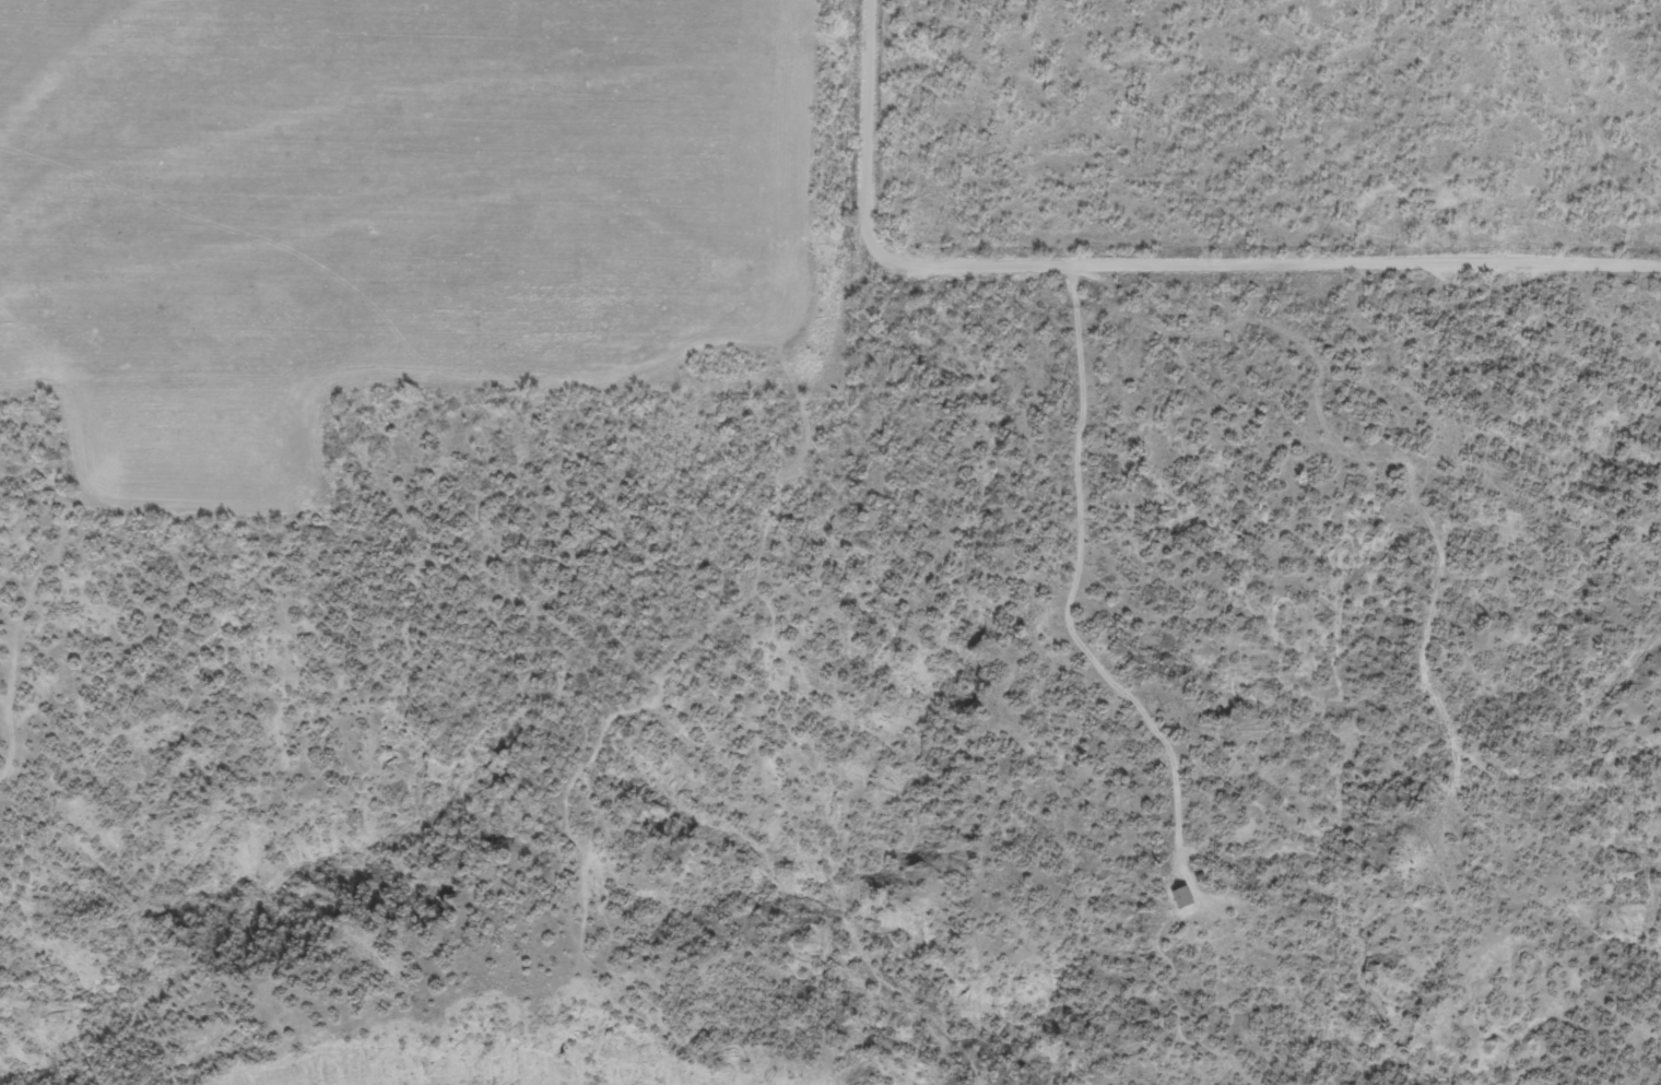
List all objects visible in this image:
road: (1142, 261)
building: (1183, 899)

